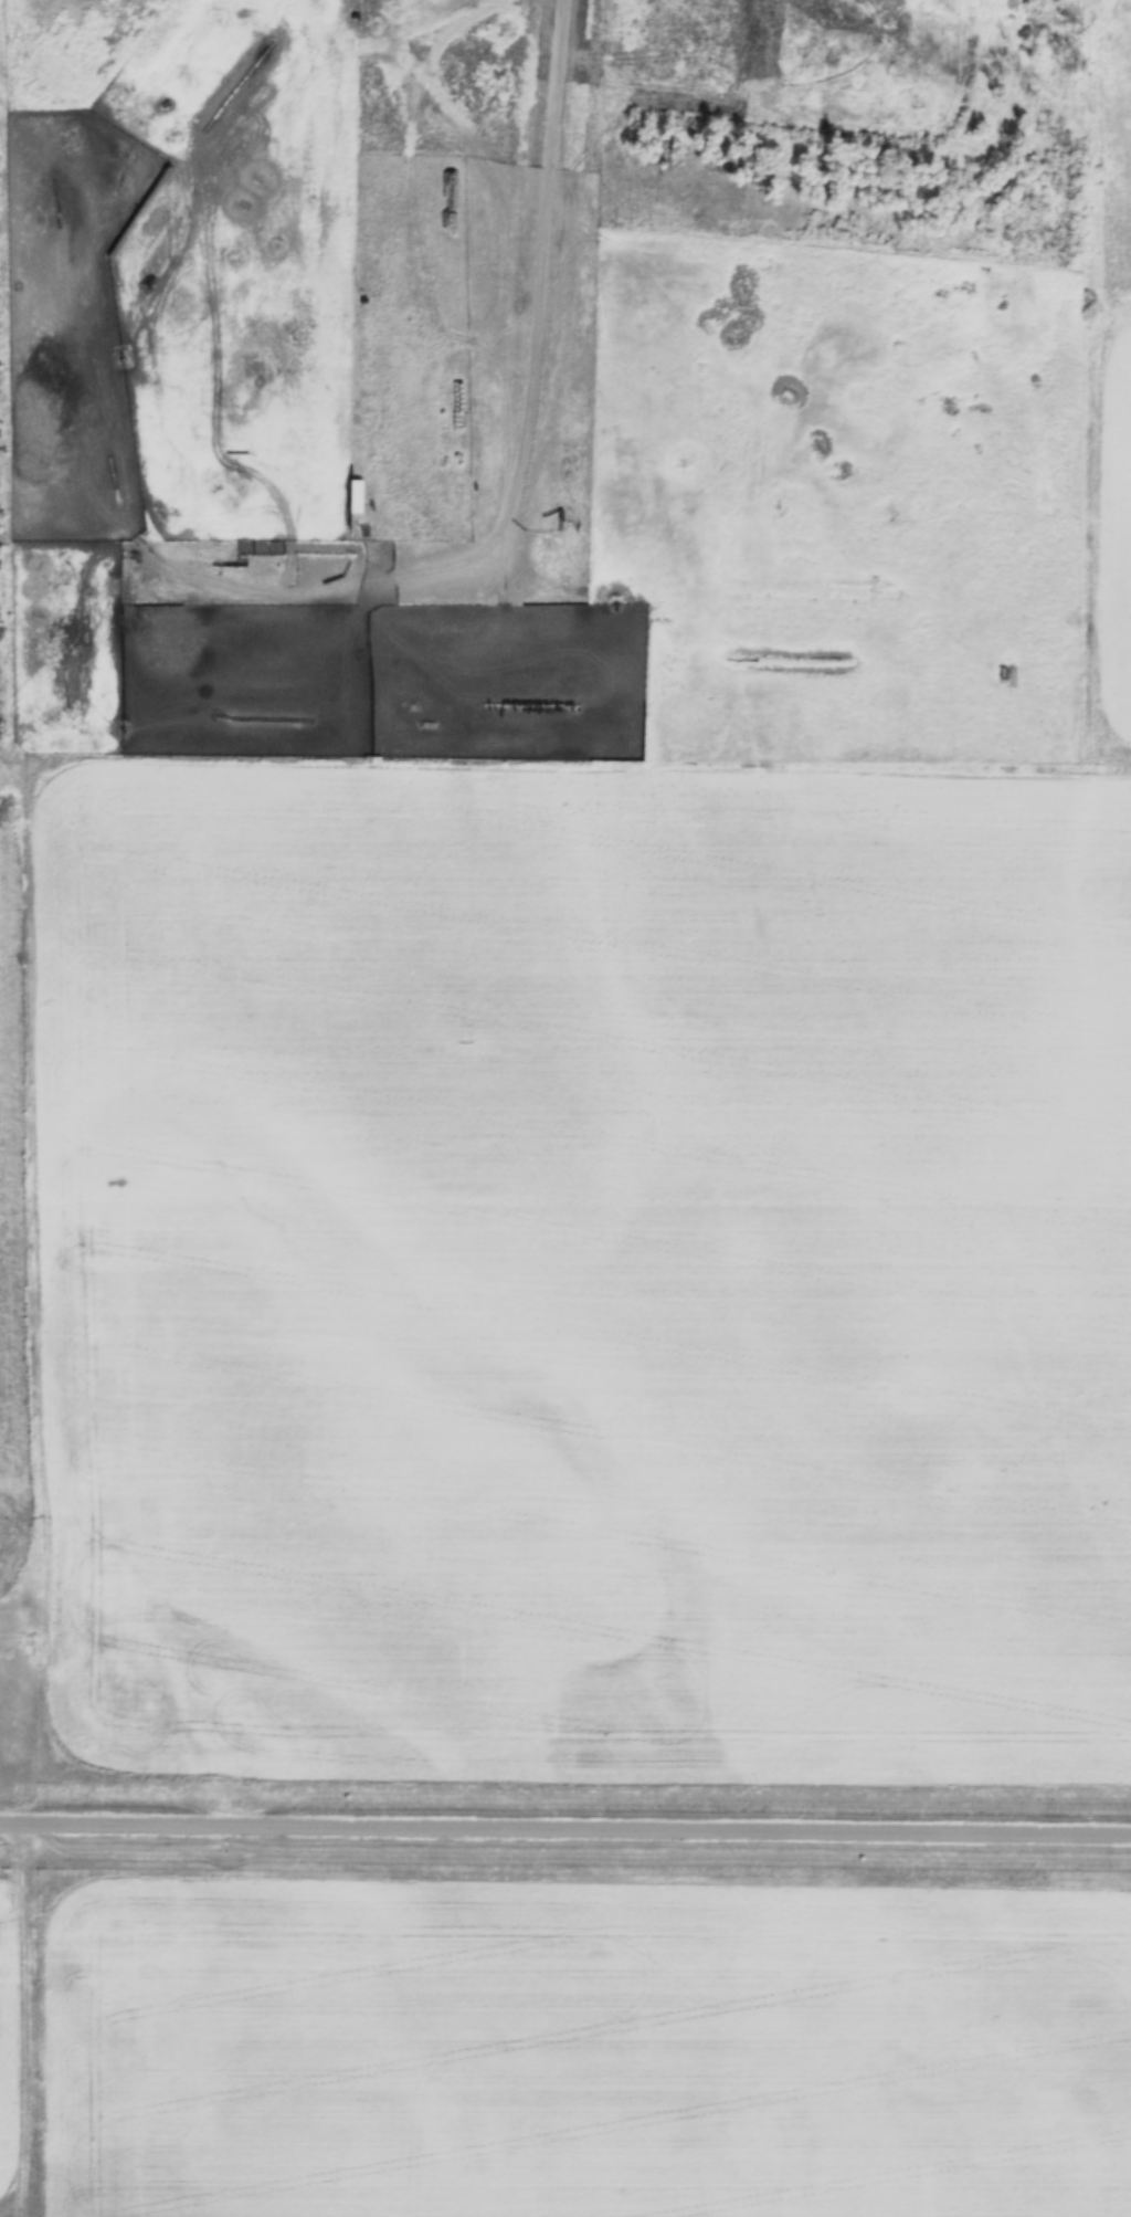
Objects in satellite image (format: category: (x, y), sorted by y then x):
road: (531, 277)
building: (453, 294)
building: (353, 496)
crop: (9, 1241)
road: (565, 1828)

